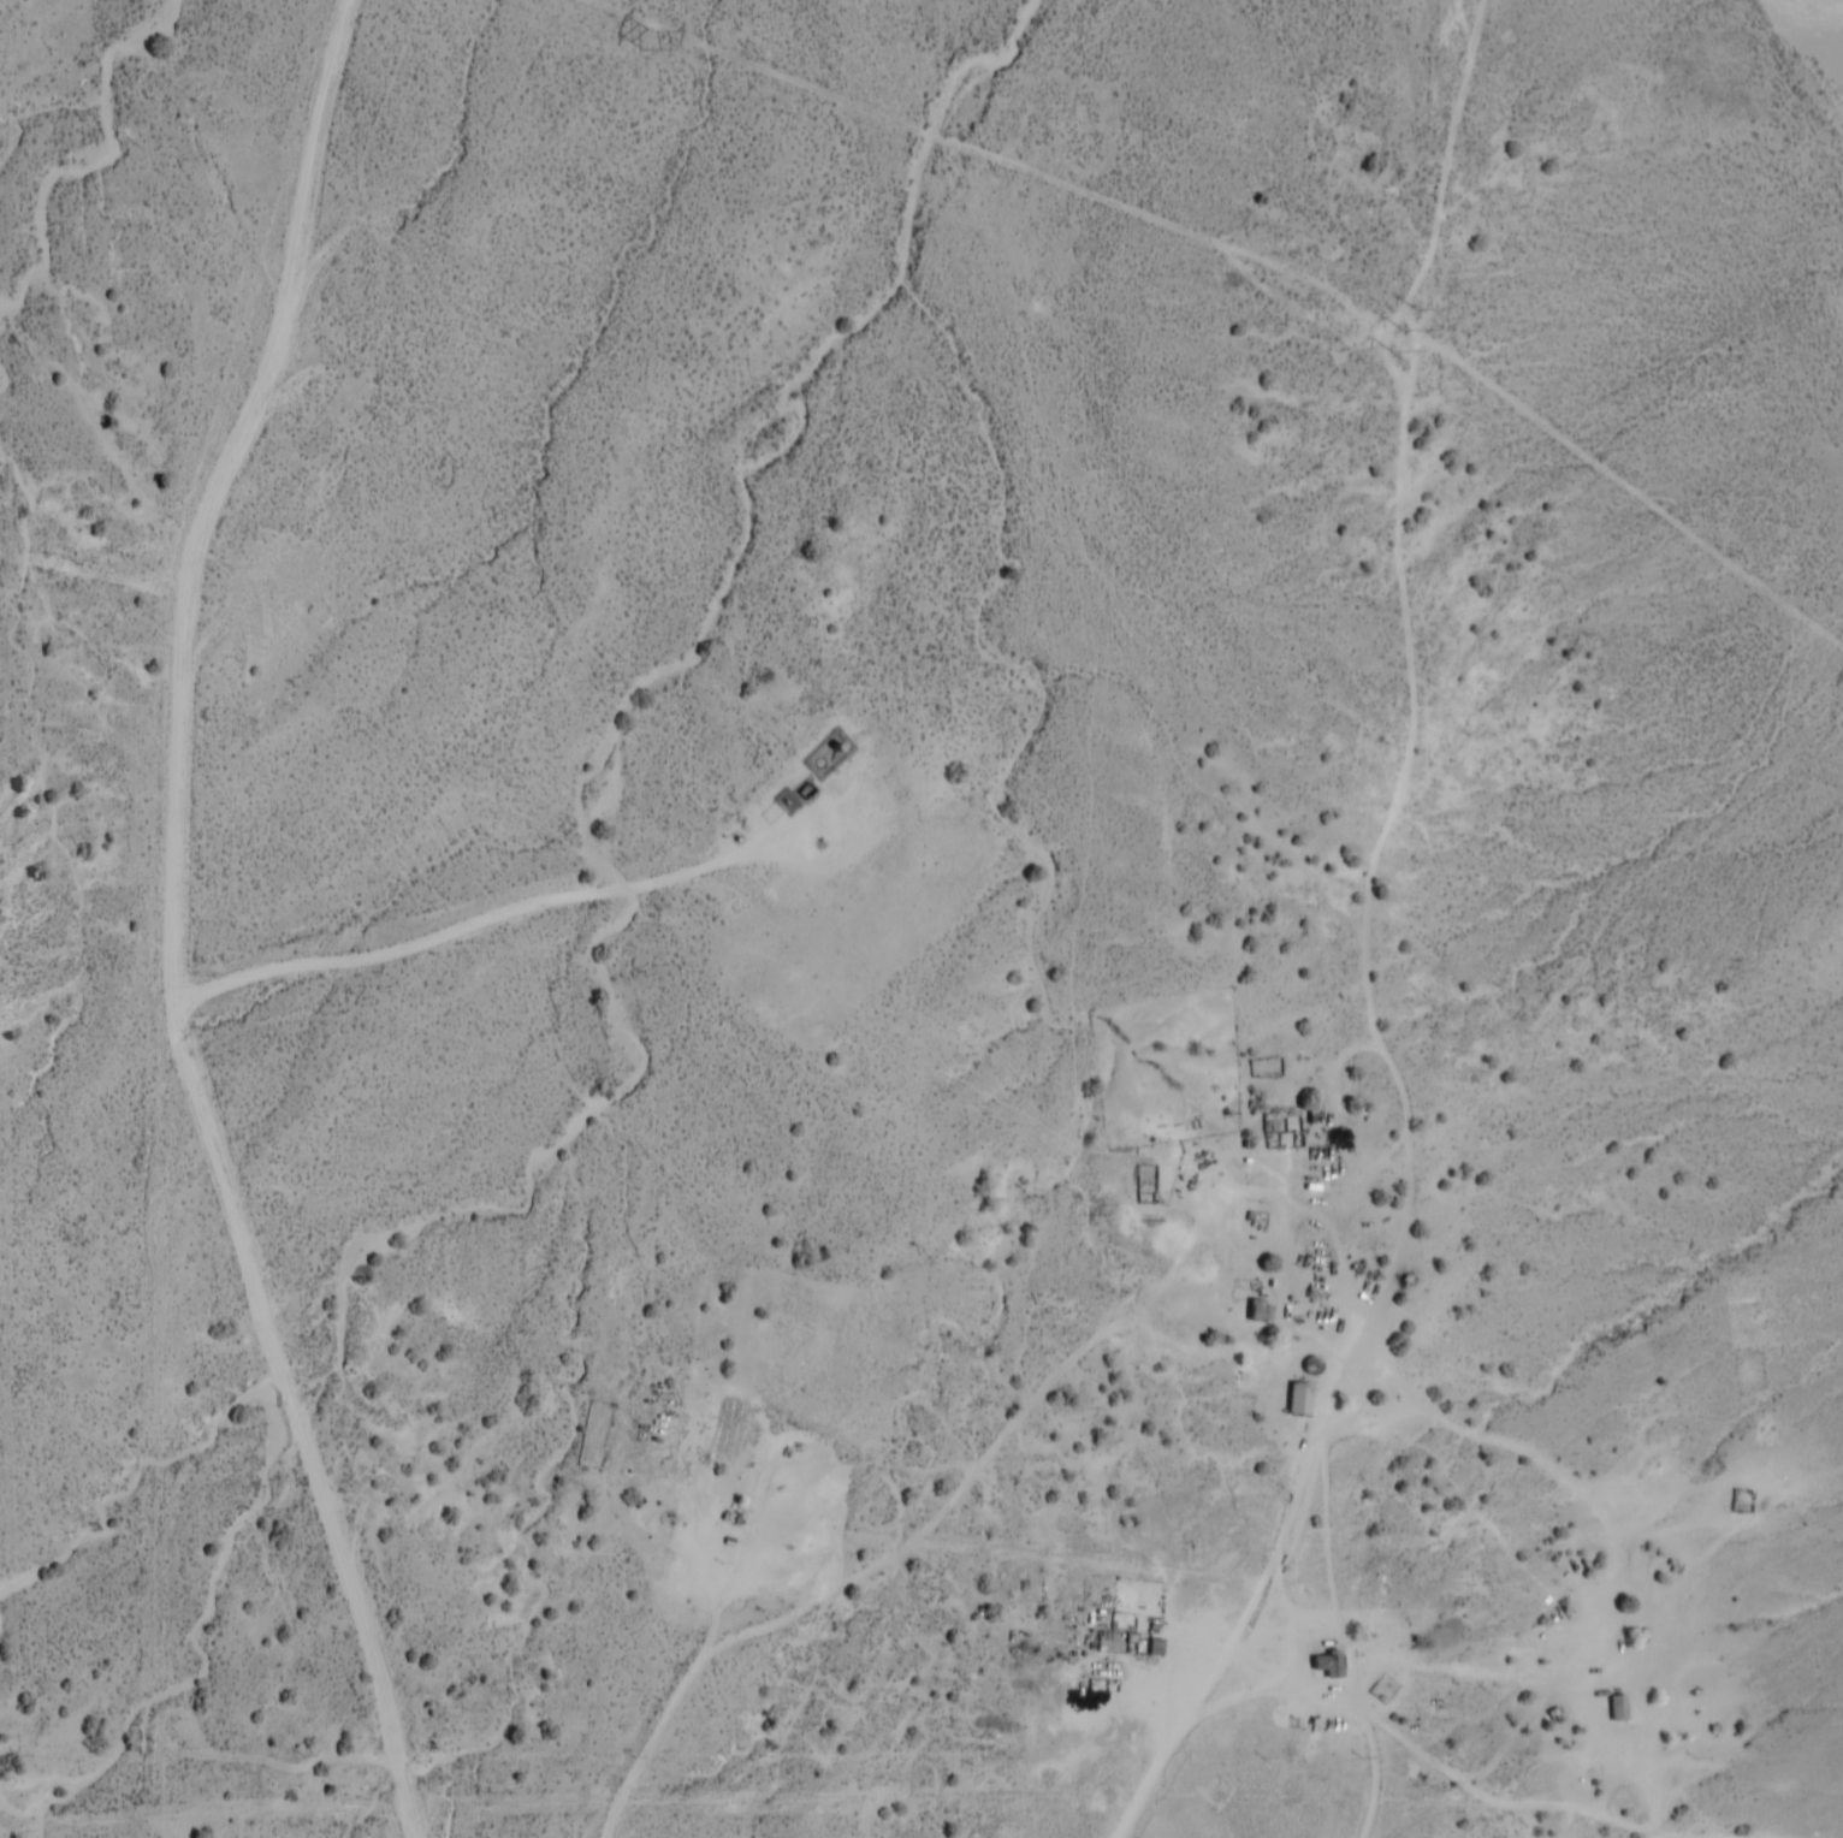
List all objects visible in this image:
river: (1826, 35)
power tower: (647, 41)
power tower: (1409, 327)
road: (99, 421)
road: (176, 924)
building: (1302, 1401)
building: (1157, 1649)
building: (1329, 1667)
building: (1618, 1709)

